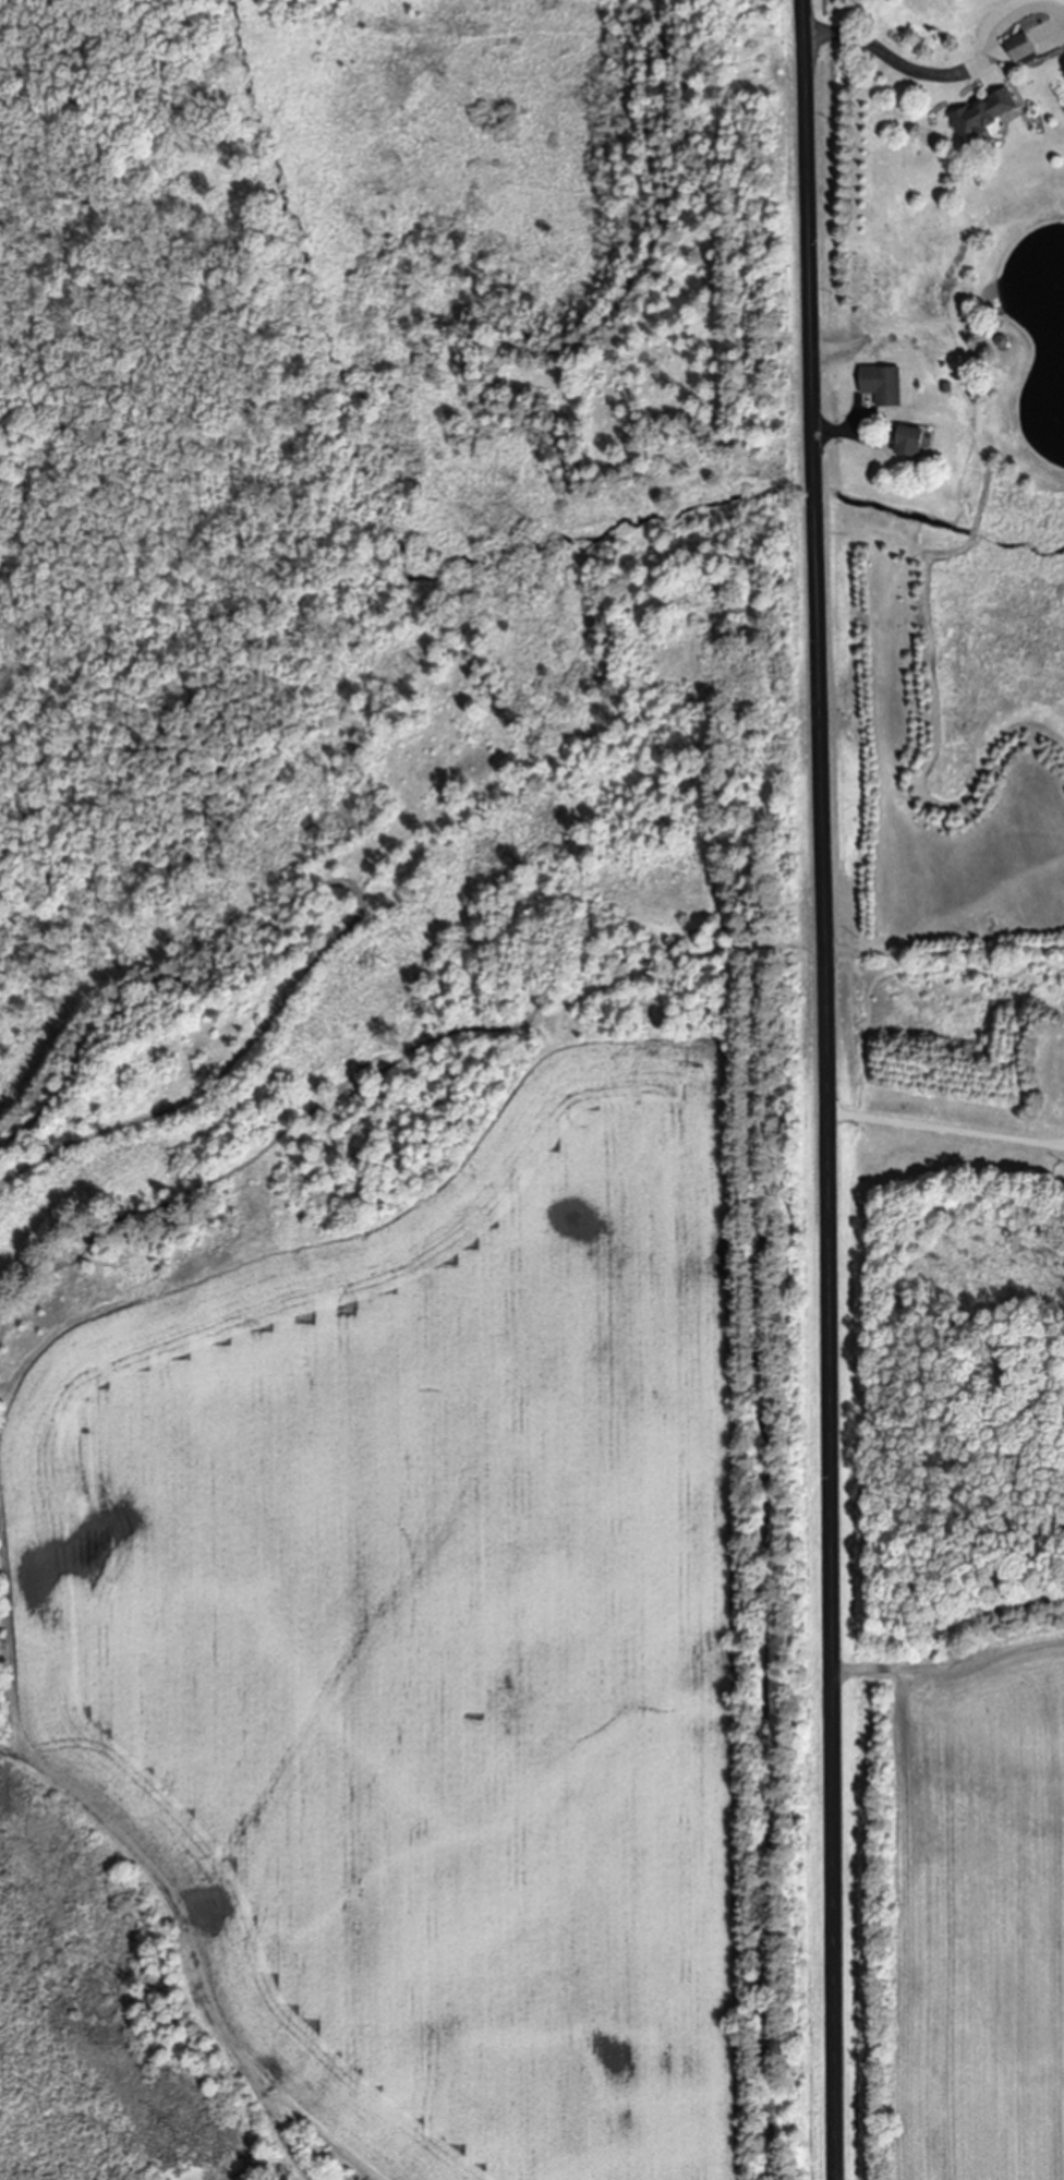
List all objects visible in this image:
building: (1021, 50)
road: (894, 60)
building: (984, 116)
building: (882, 385)
road: (835, 430)
building: (909, 442)
road: (827, 1089)
road: (946, 1127)

